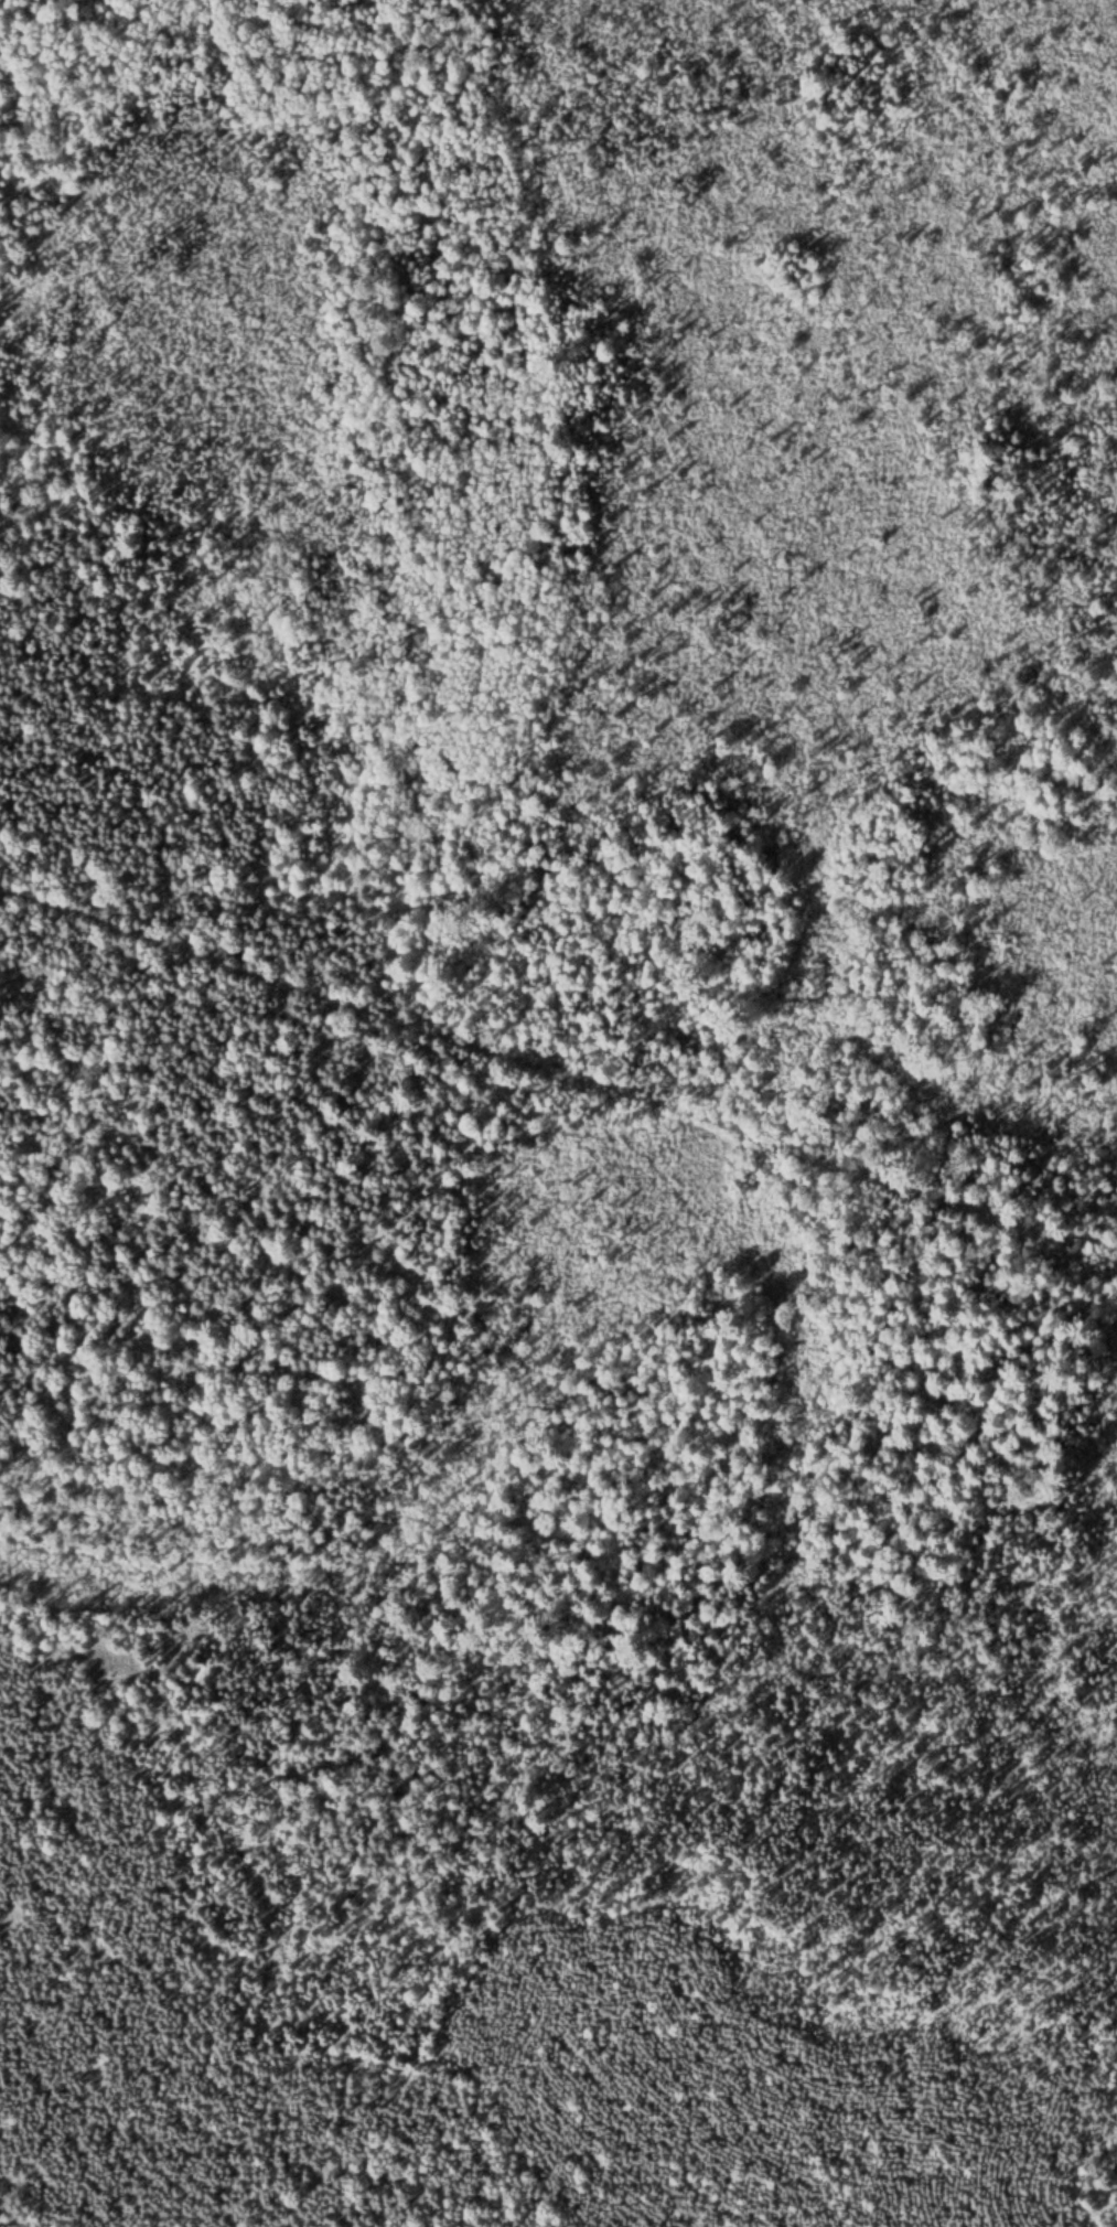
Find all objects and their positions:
road: (519, 1063)

